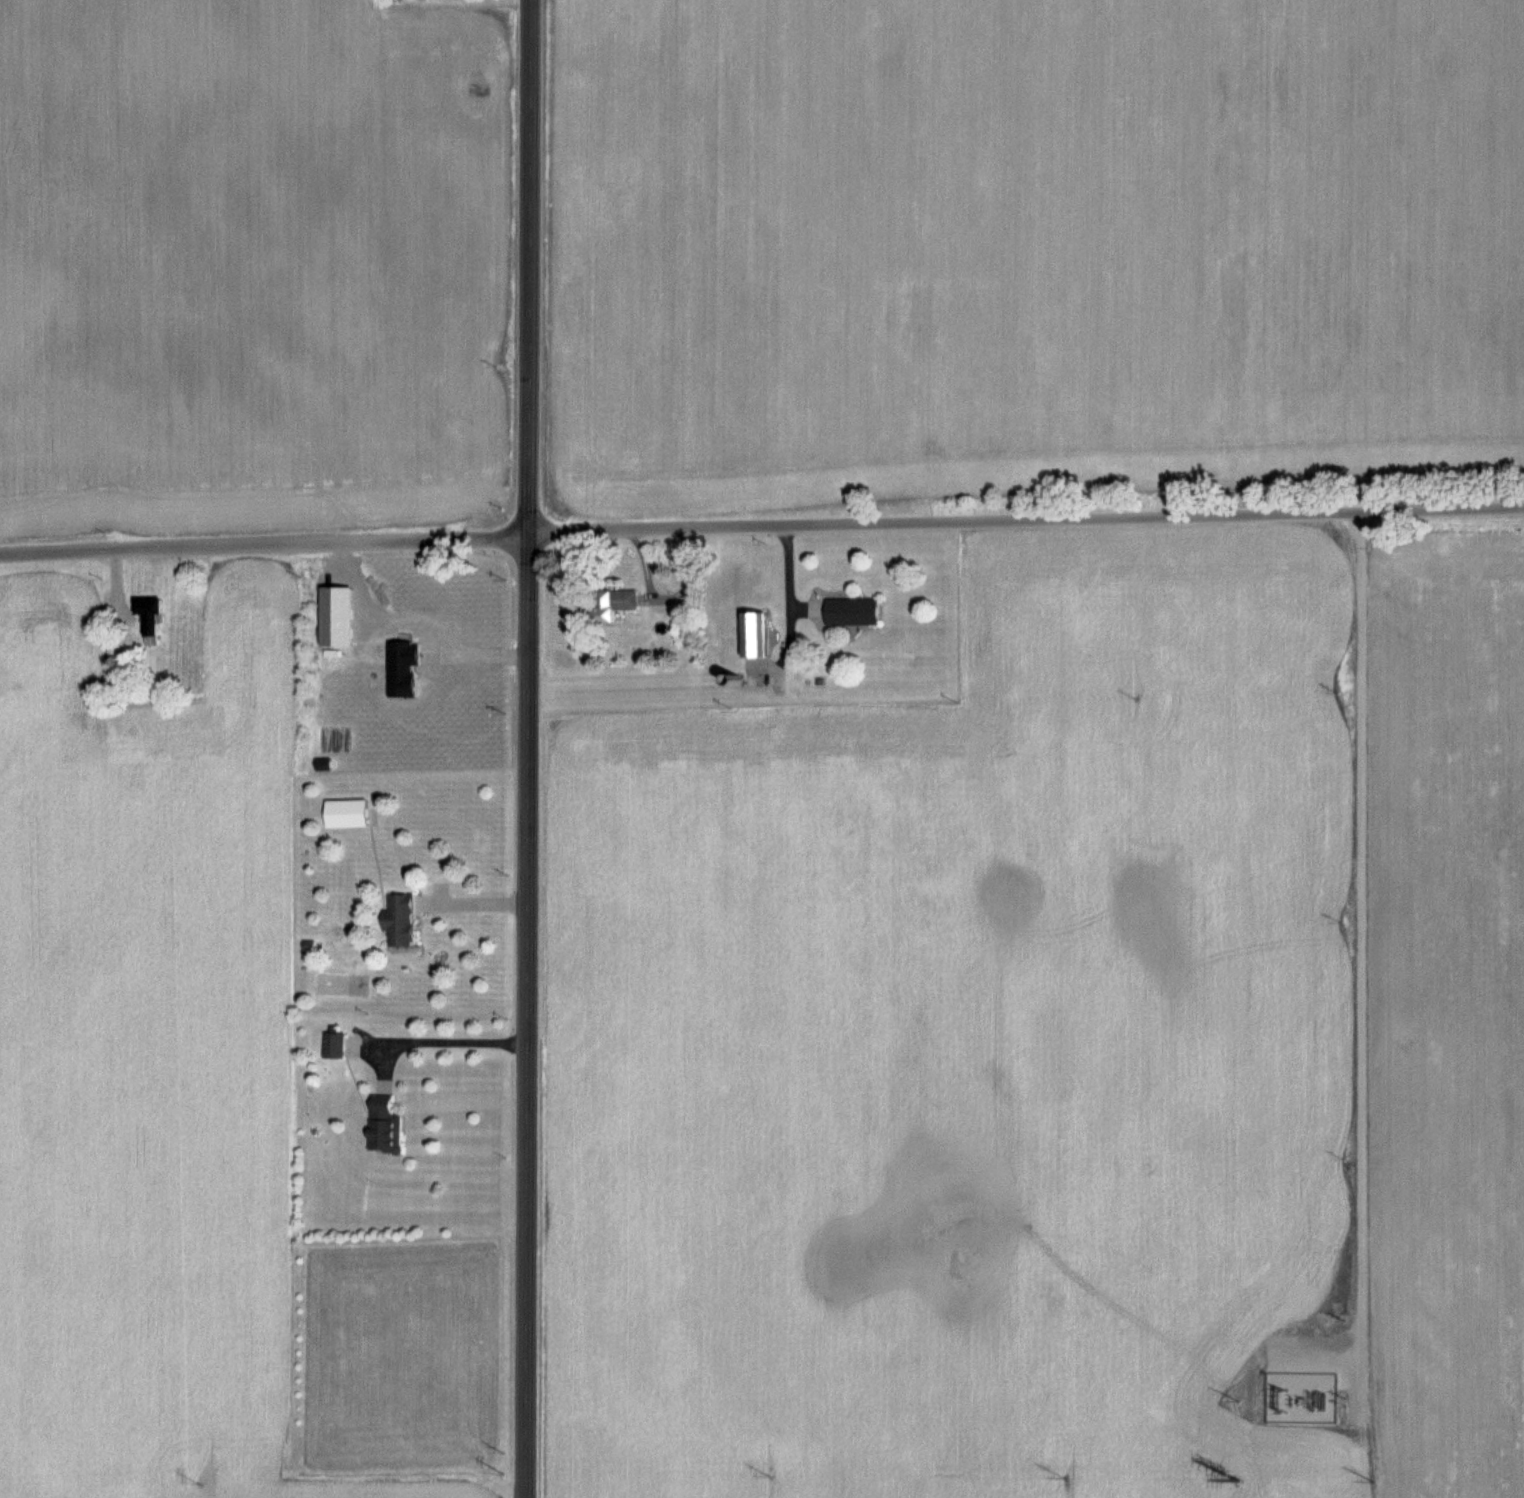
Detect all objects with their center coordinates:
road: (761, 529)
road: (1360, 529)
road: (788, 596)
building: (613, 605)
building: (852, 611)
road: (420, 617)
building: (150, 619)
building: (754, 636)
road: (525, 748)
road: (472, 903)
building: (399, 920)
road: (1361, 985)
road: (441, 1039)
building: (334, 1045)
building: (384, 1125)
road: (1312, 1357)
road: (1348, 1382)
power substation: (1300, 1397)

